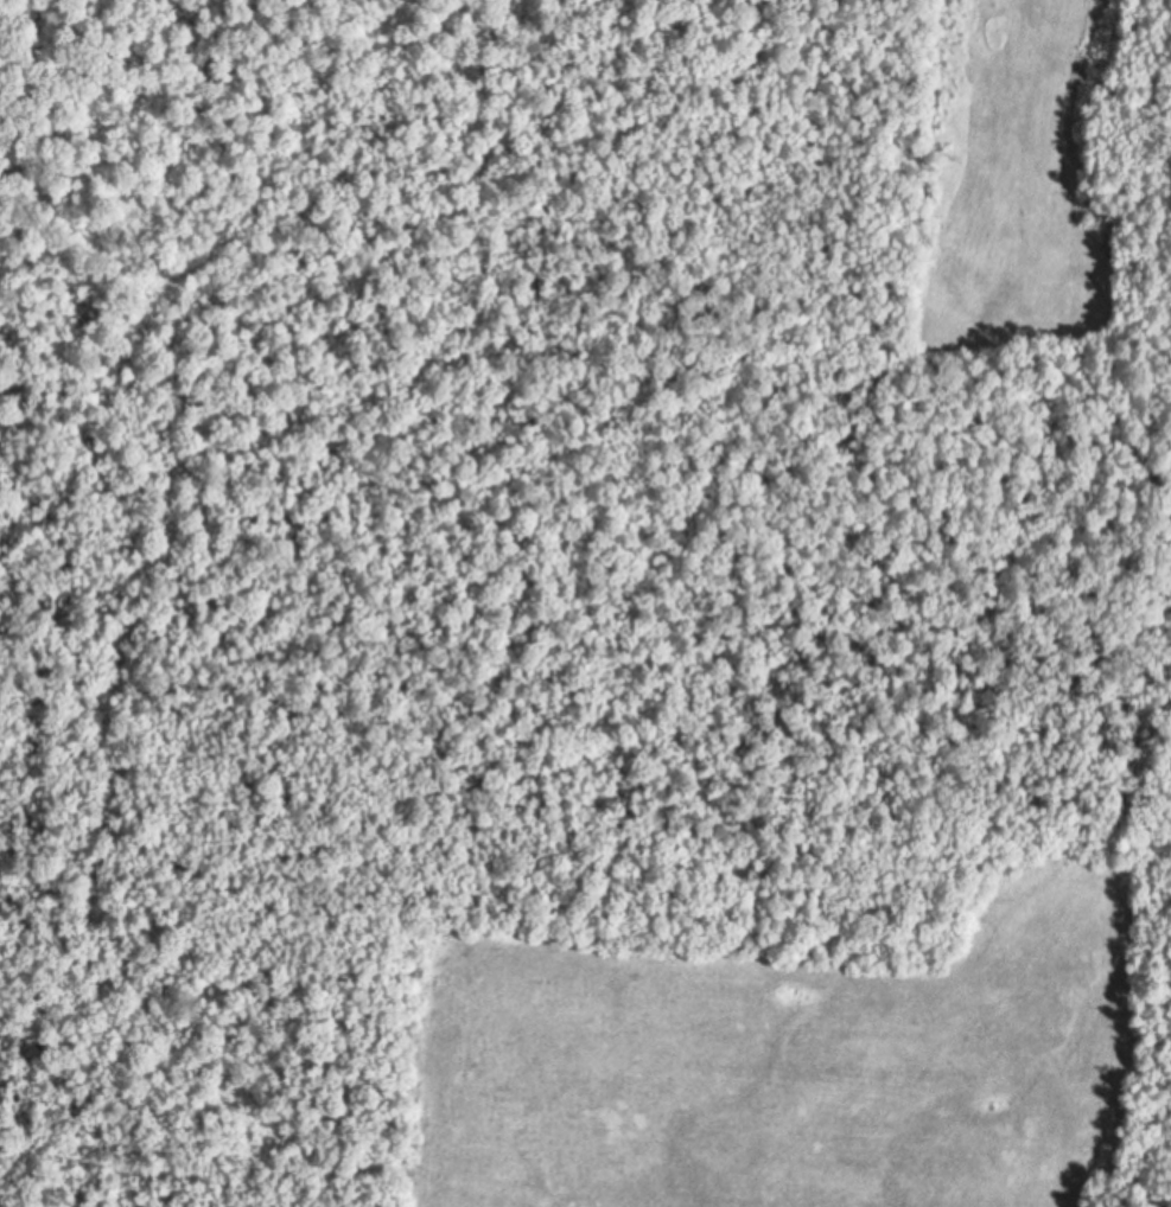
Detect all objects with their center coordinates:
building: (4, 1147)

